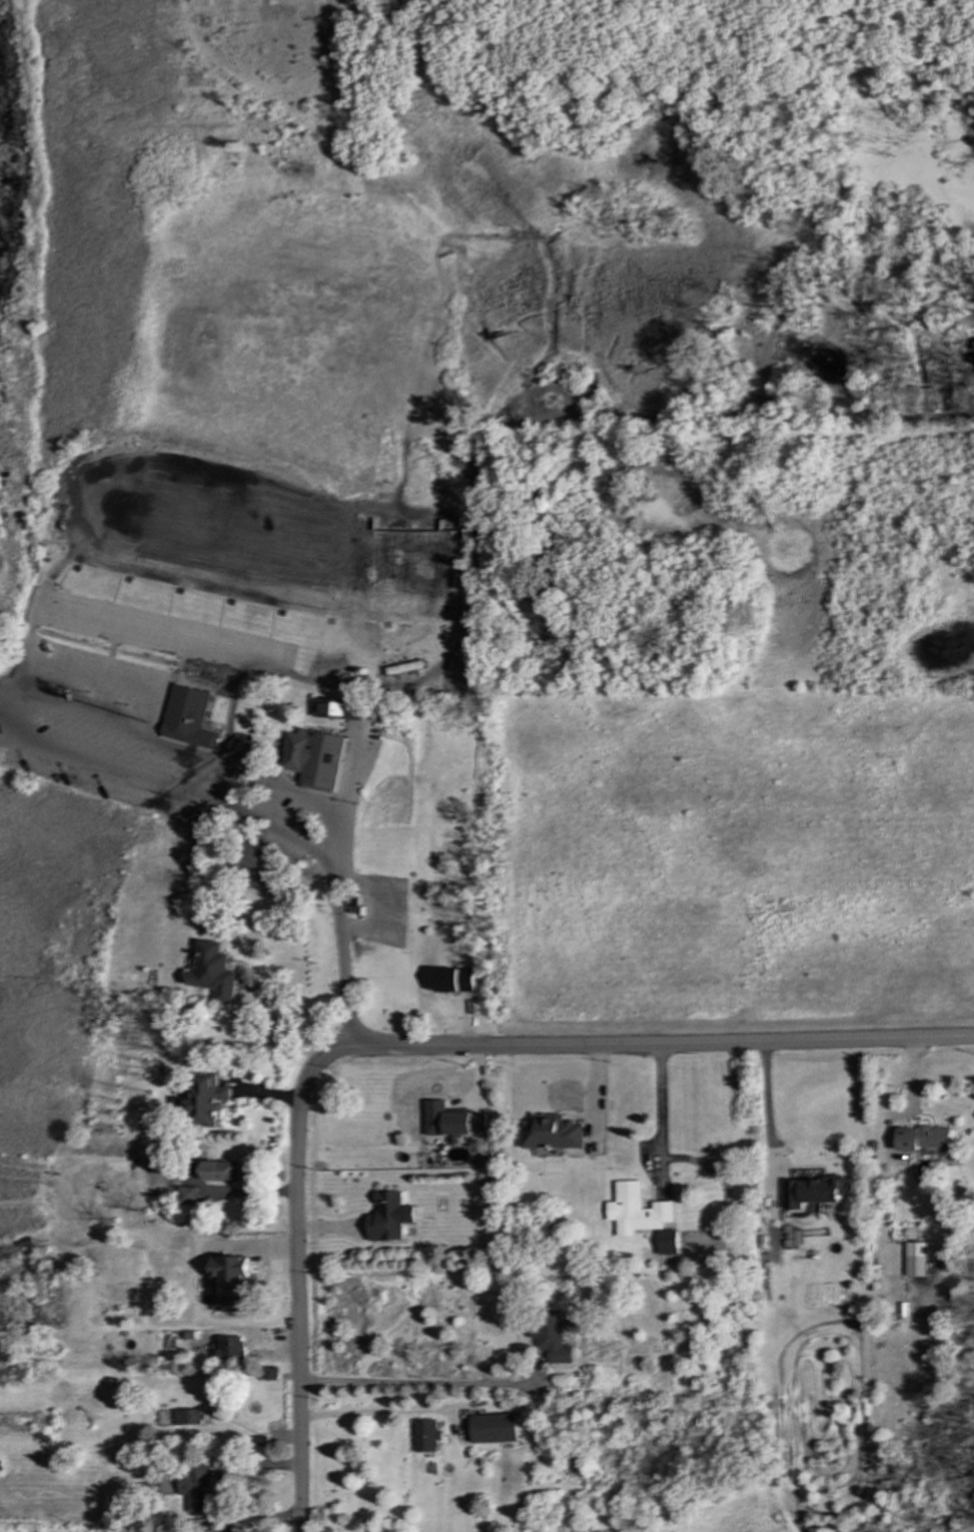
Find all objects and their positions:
building: (347, 711)
building: (187, 720)
road: (100, 722)
parking lot: (91, 725)
building: (315, 759)
road: (251, 823)
building: (262, 870)
road: (340, 952)
building: (214, 973)
building: (456, 981)
road: (406, 1047)
building: (209, 1102)
road: (660, 1115)
road: (769, 1123)
building: (467, 1125)
building: (555, 1135)
building: (926, 1140)
building: (222, 1172)
building: (814, 1193)
building: (189, 1197)
building: (640, 1212)
building: (391, 1218)
building: (671, 1245)
building: (917, 1261)
building: (234, 1282)
building: (554, 1338)
building: (230, 1349)
road: (428, 1384)
road: (377, 1412)
building: (188, 1419)
building: (491, 1429)
building: (426, 1437)
building: (198, 1487)
road: (265, 1519)

